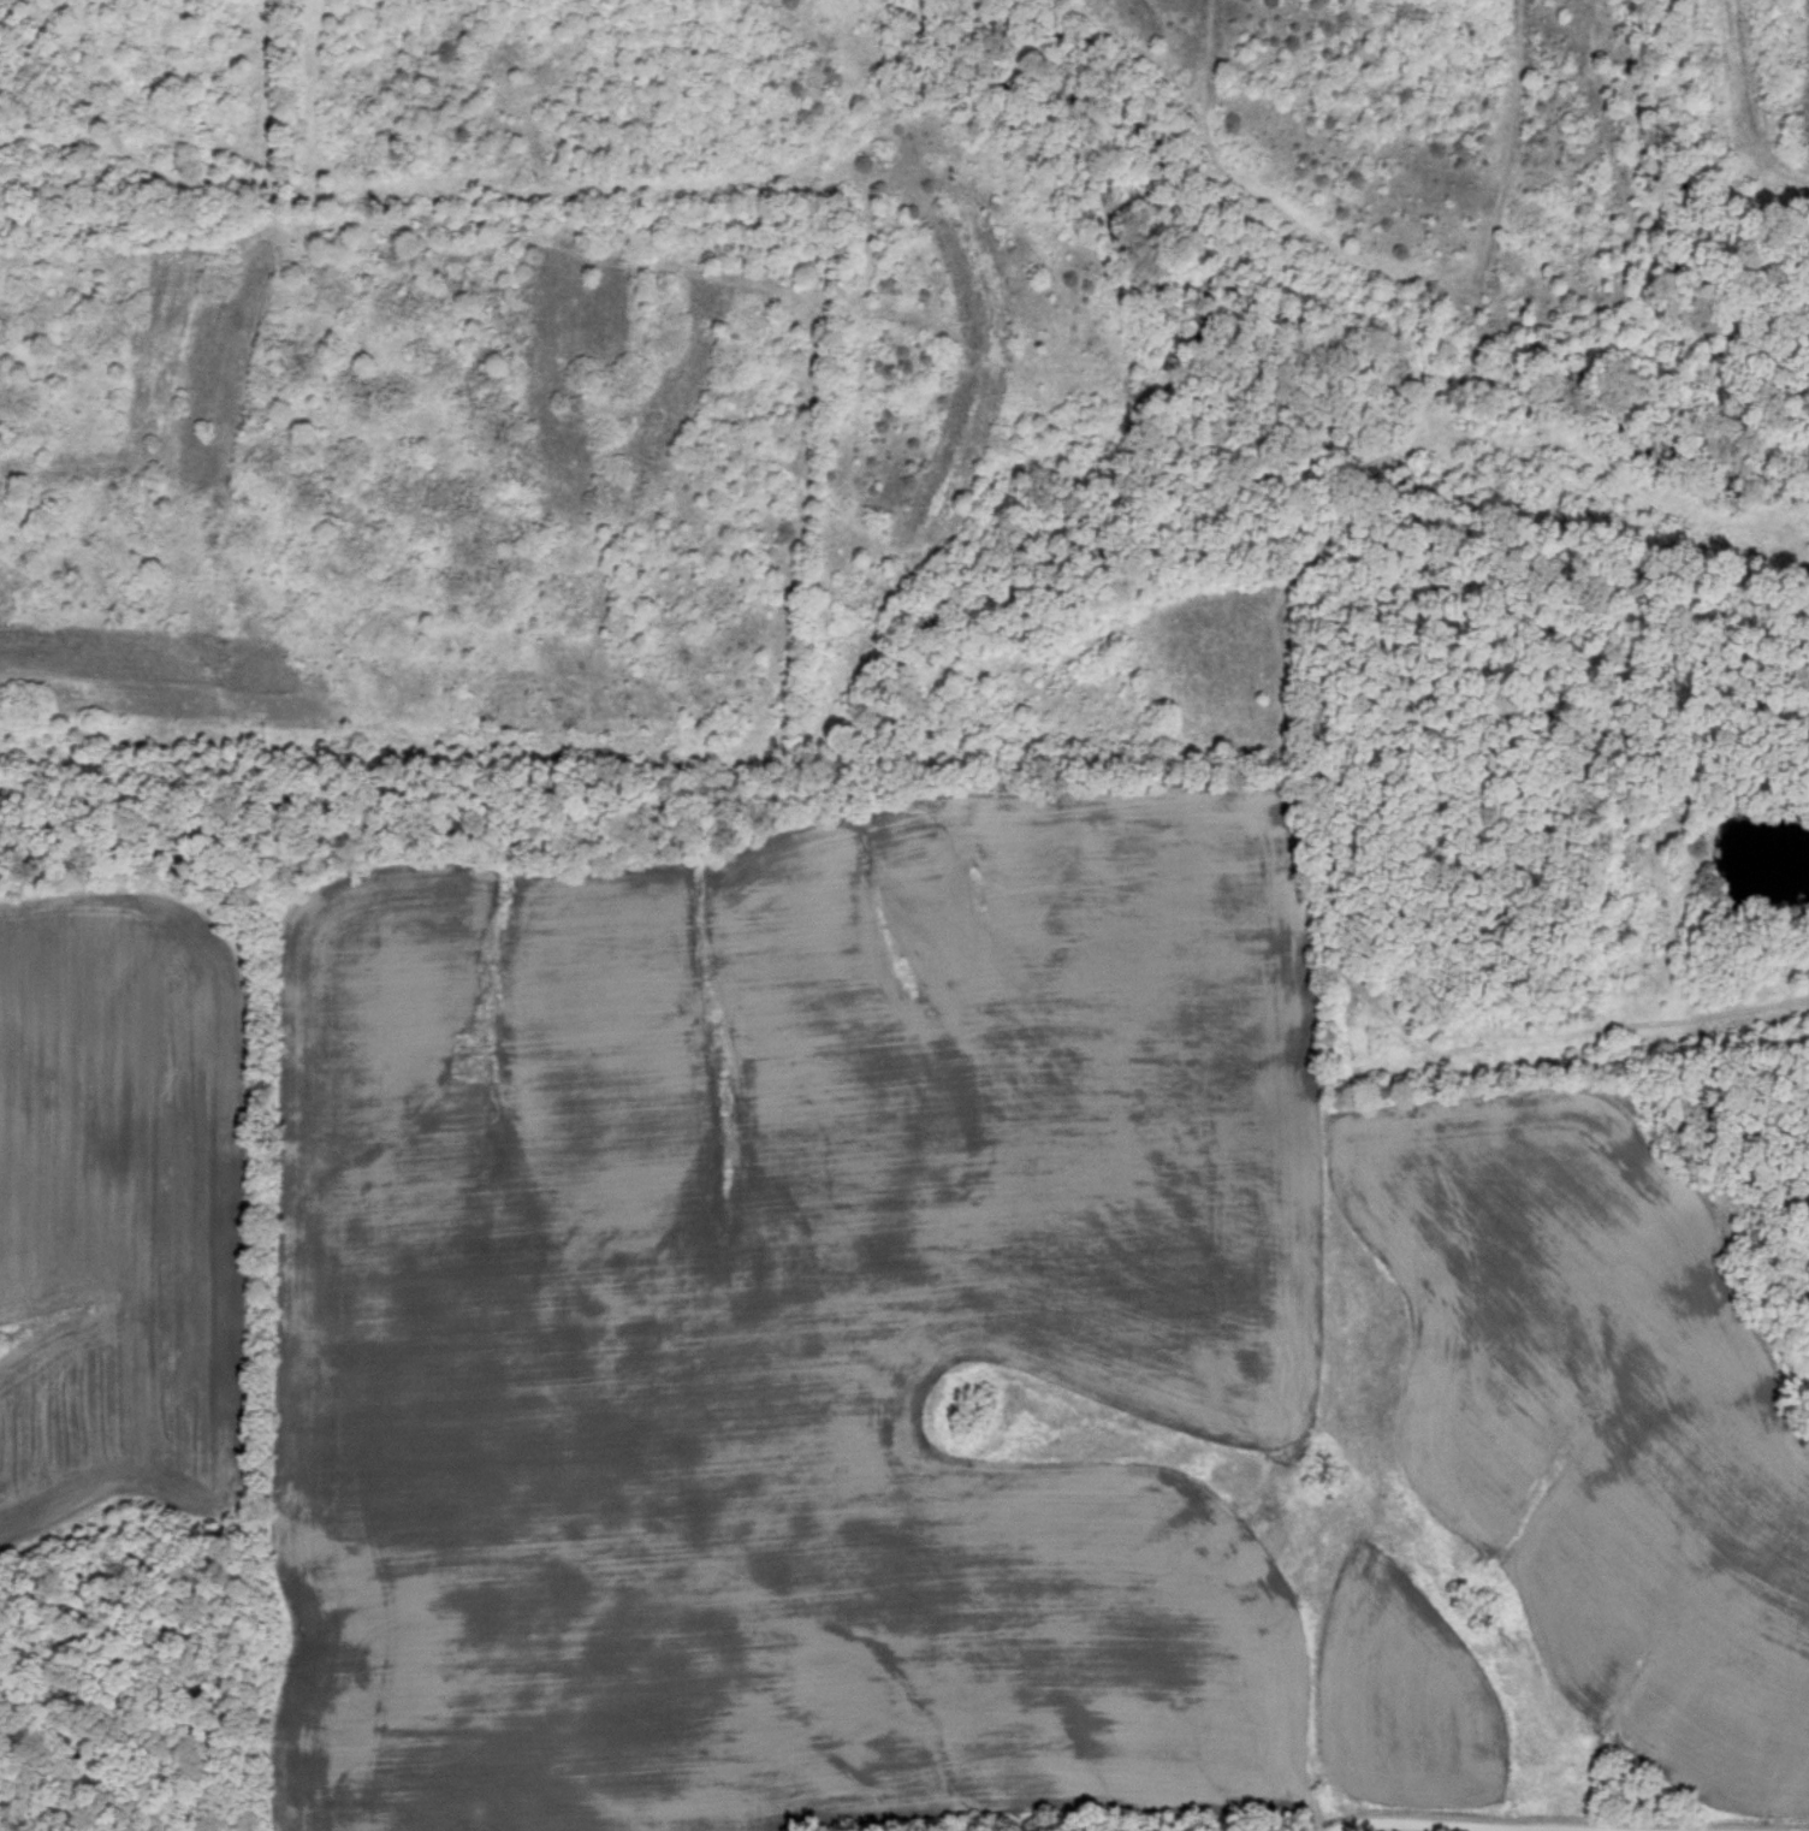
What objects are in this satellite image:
road: (1472, 1826)

